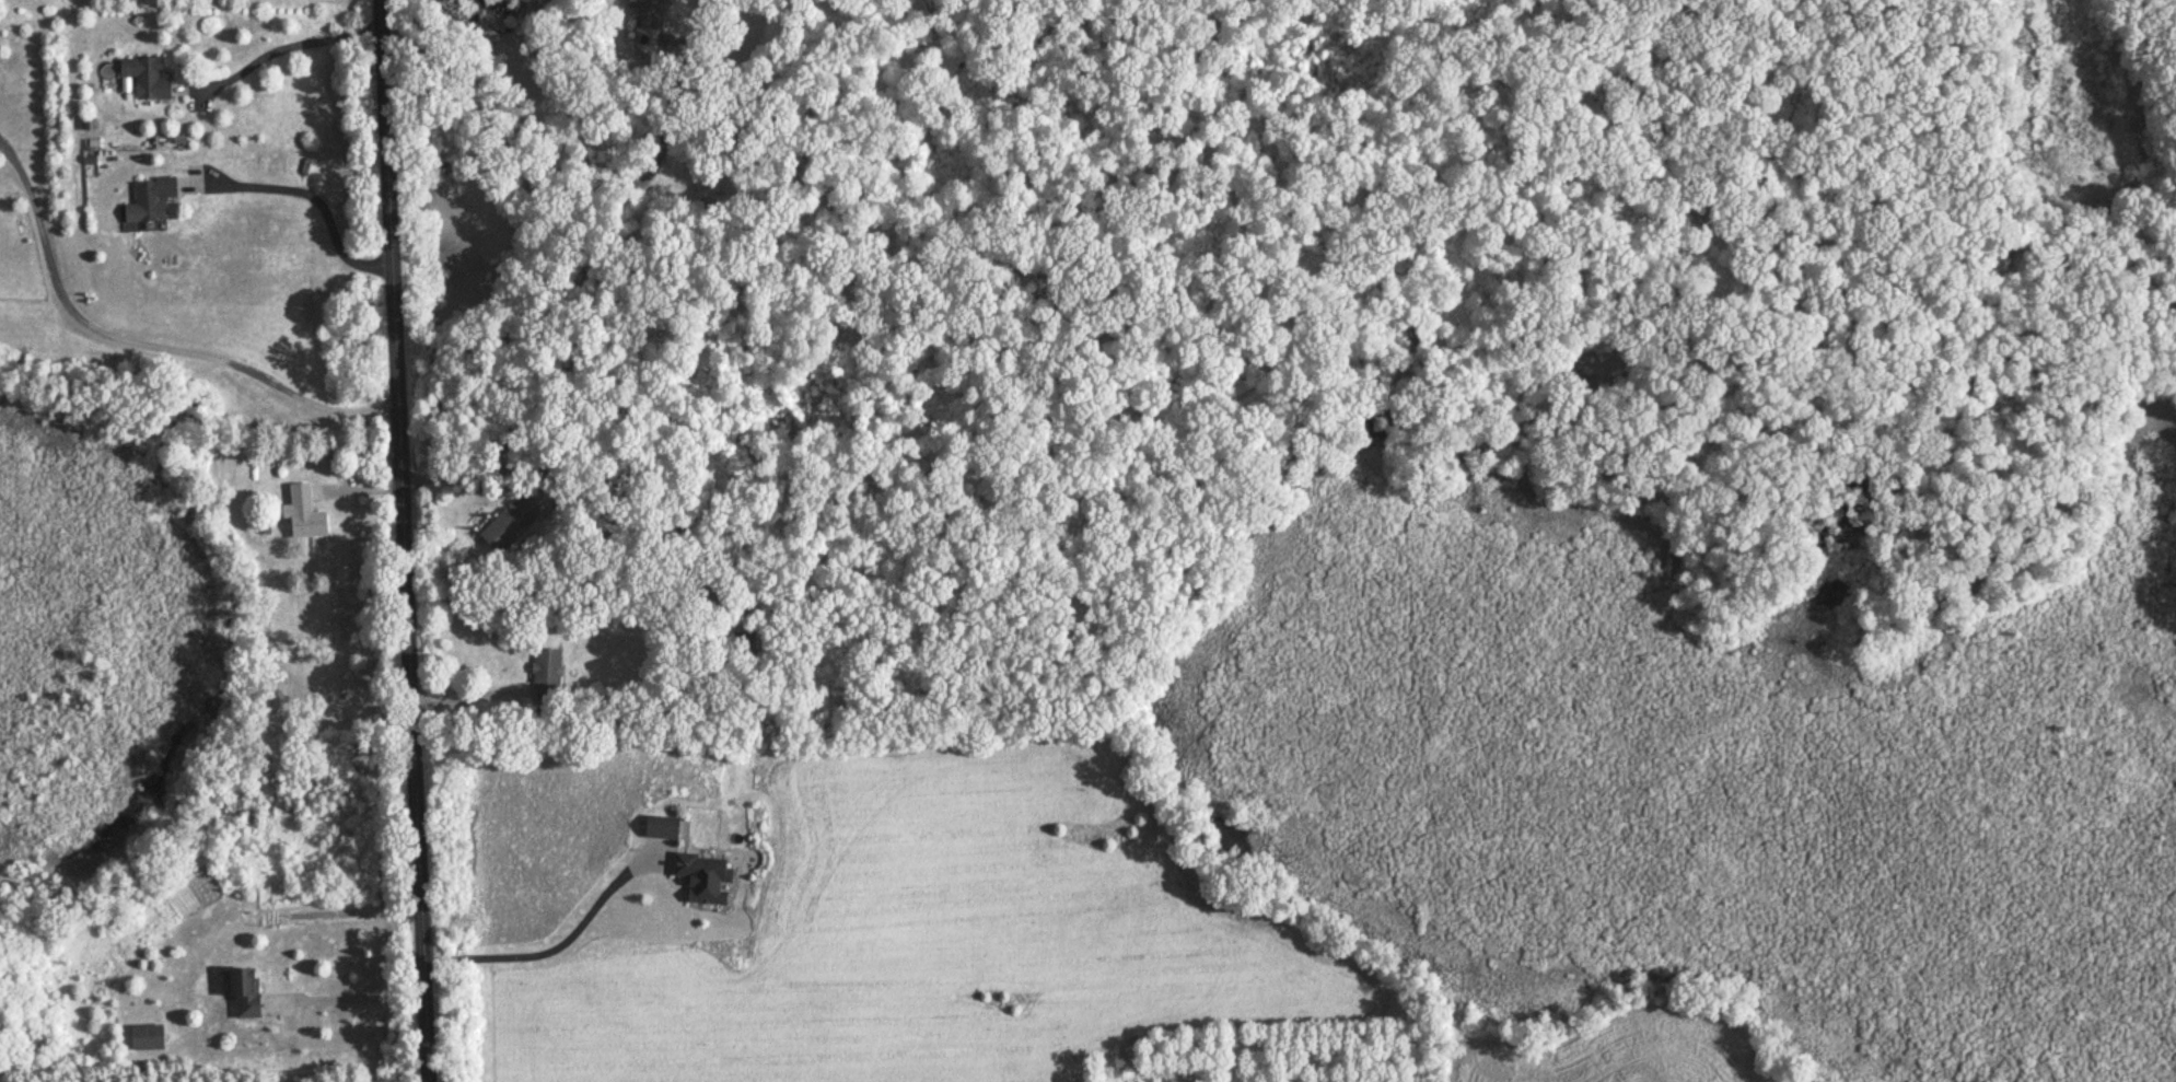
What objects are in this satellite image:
building: (651, 14)
road: (289, 48)
building: (149, 80)
building: (155, 200)
road: (317, 201)
road: (146, 346)
building: (307, 517)
building: (513, 527)
road: (411, 540)
building: (625, 627)
building: (550, 678)
building: (664, 828)
building: (707, 879)
road: (559, 940)
building: (248, 996)
building: (150, 1039)

